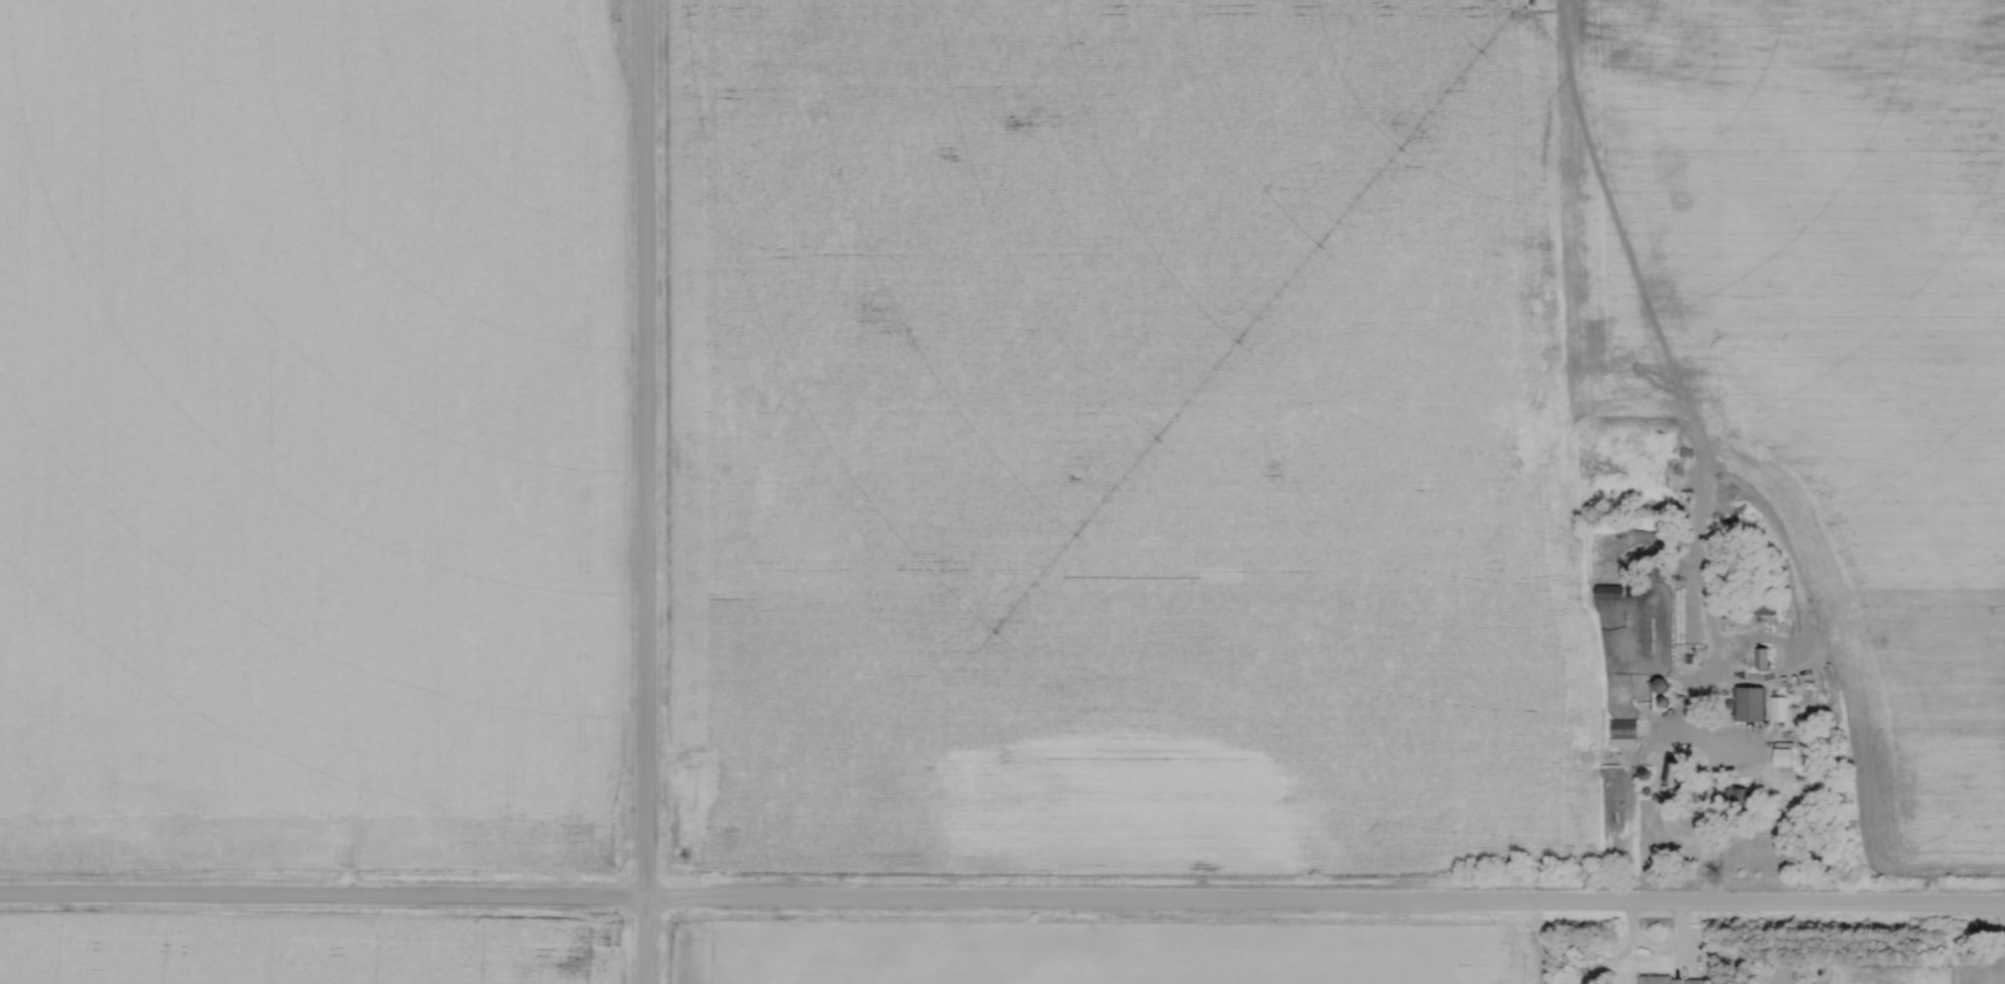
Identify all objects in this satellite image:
road: (641, 492)
building: (1608, 592)
building: (1758, 606)
building: (1684, 626)
building: (1748, 704)
building: (1621, 732)
building: (1780, 756)
road: (1707, 805)
road: (1002, 901)
road: (2004, 915)
road: (1654, 953)
building: (1669, 980)

